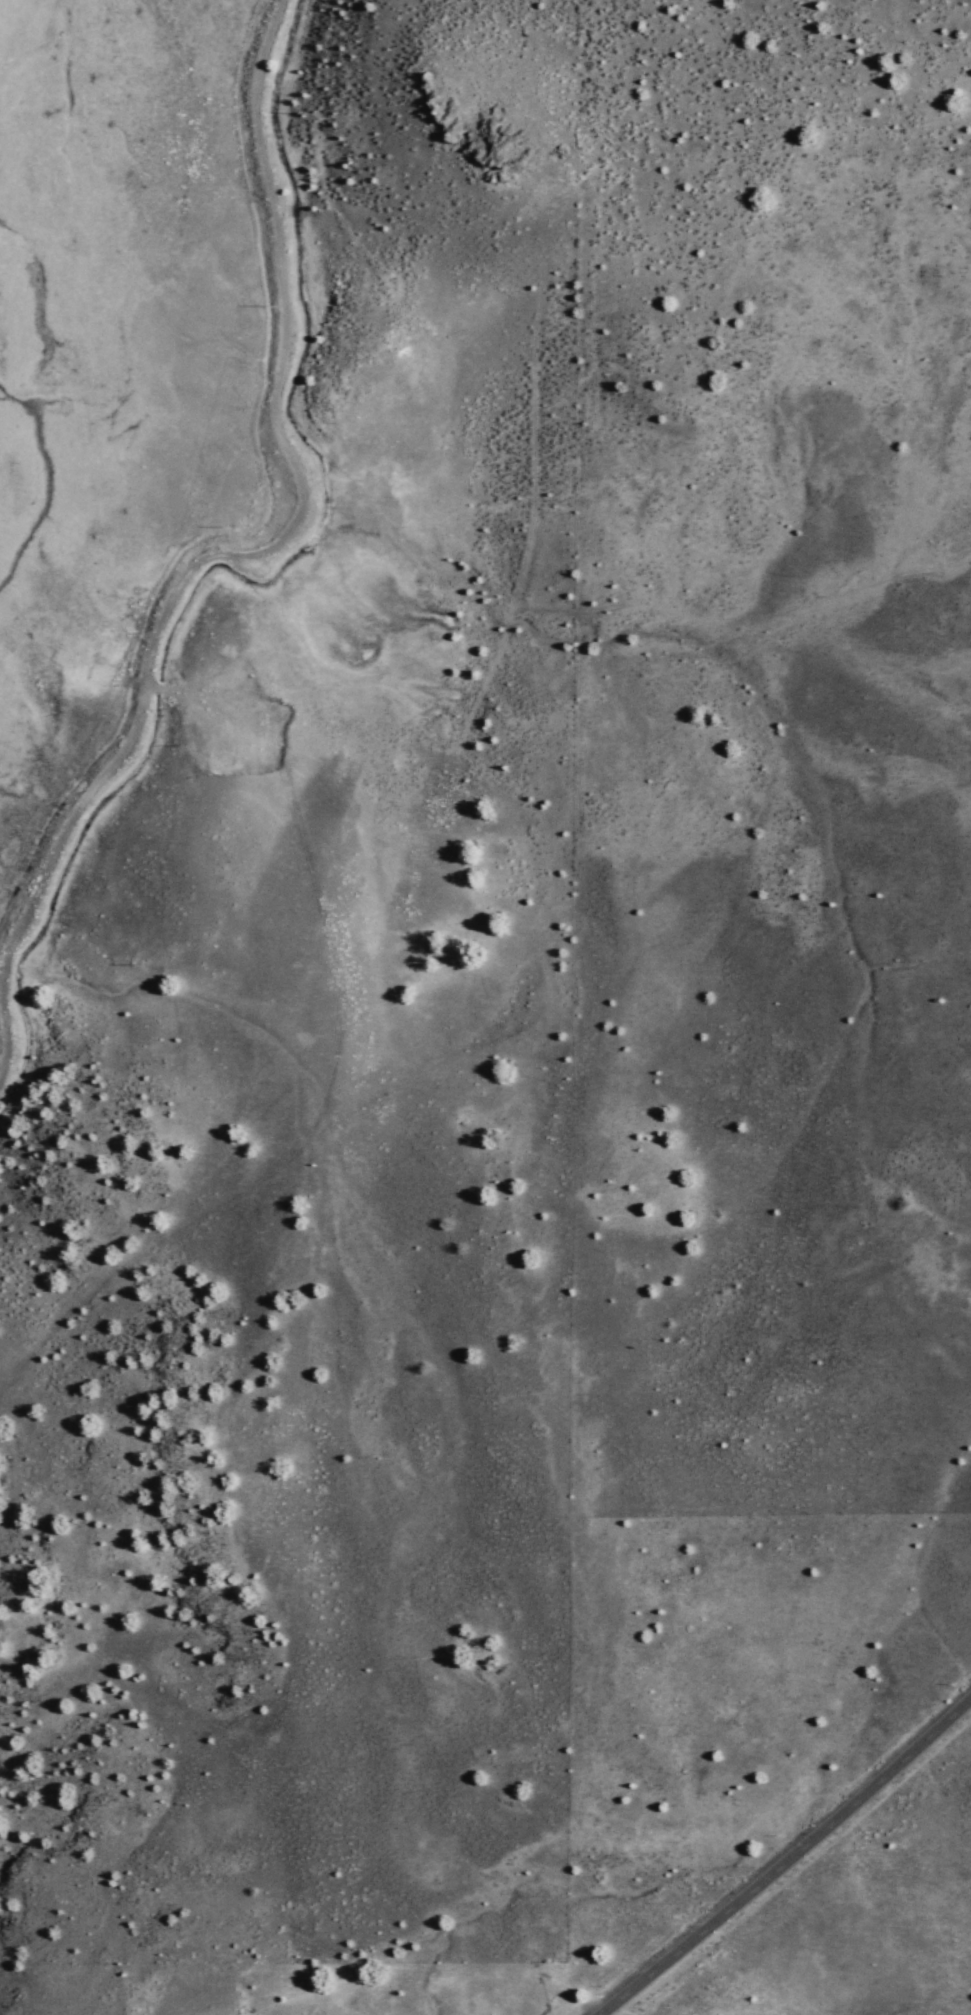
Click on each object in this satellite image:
road: (792, 1863)

